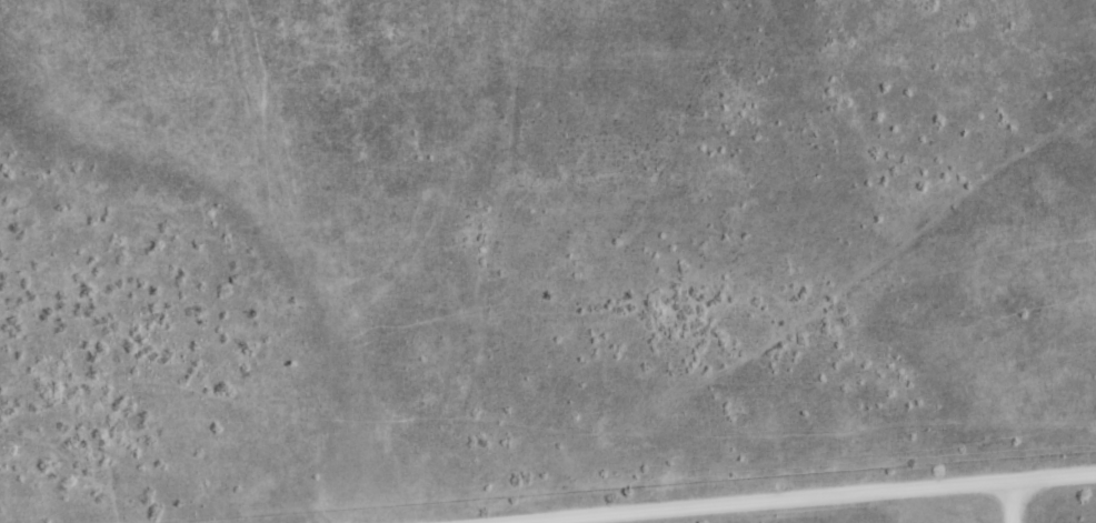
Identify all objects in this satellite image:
road: (809, 497)

